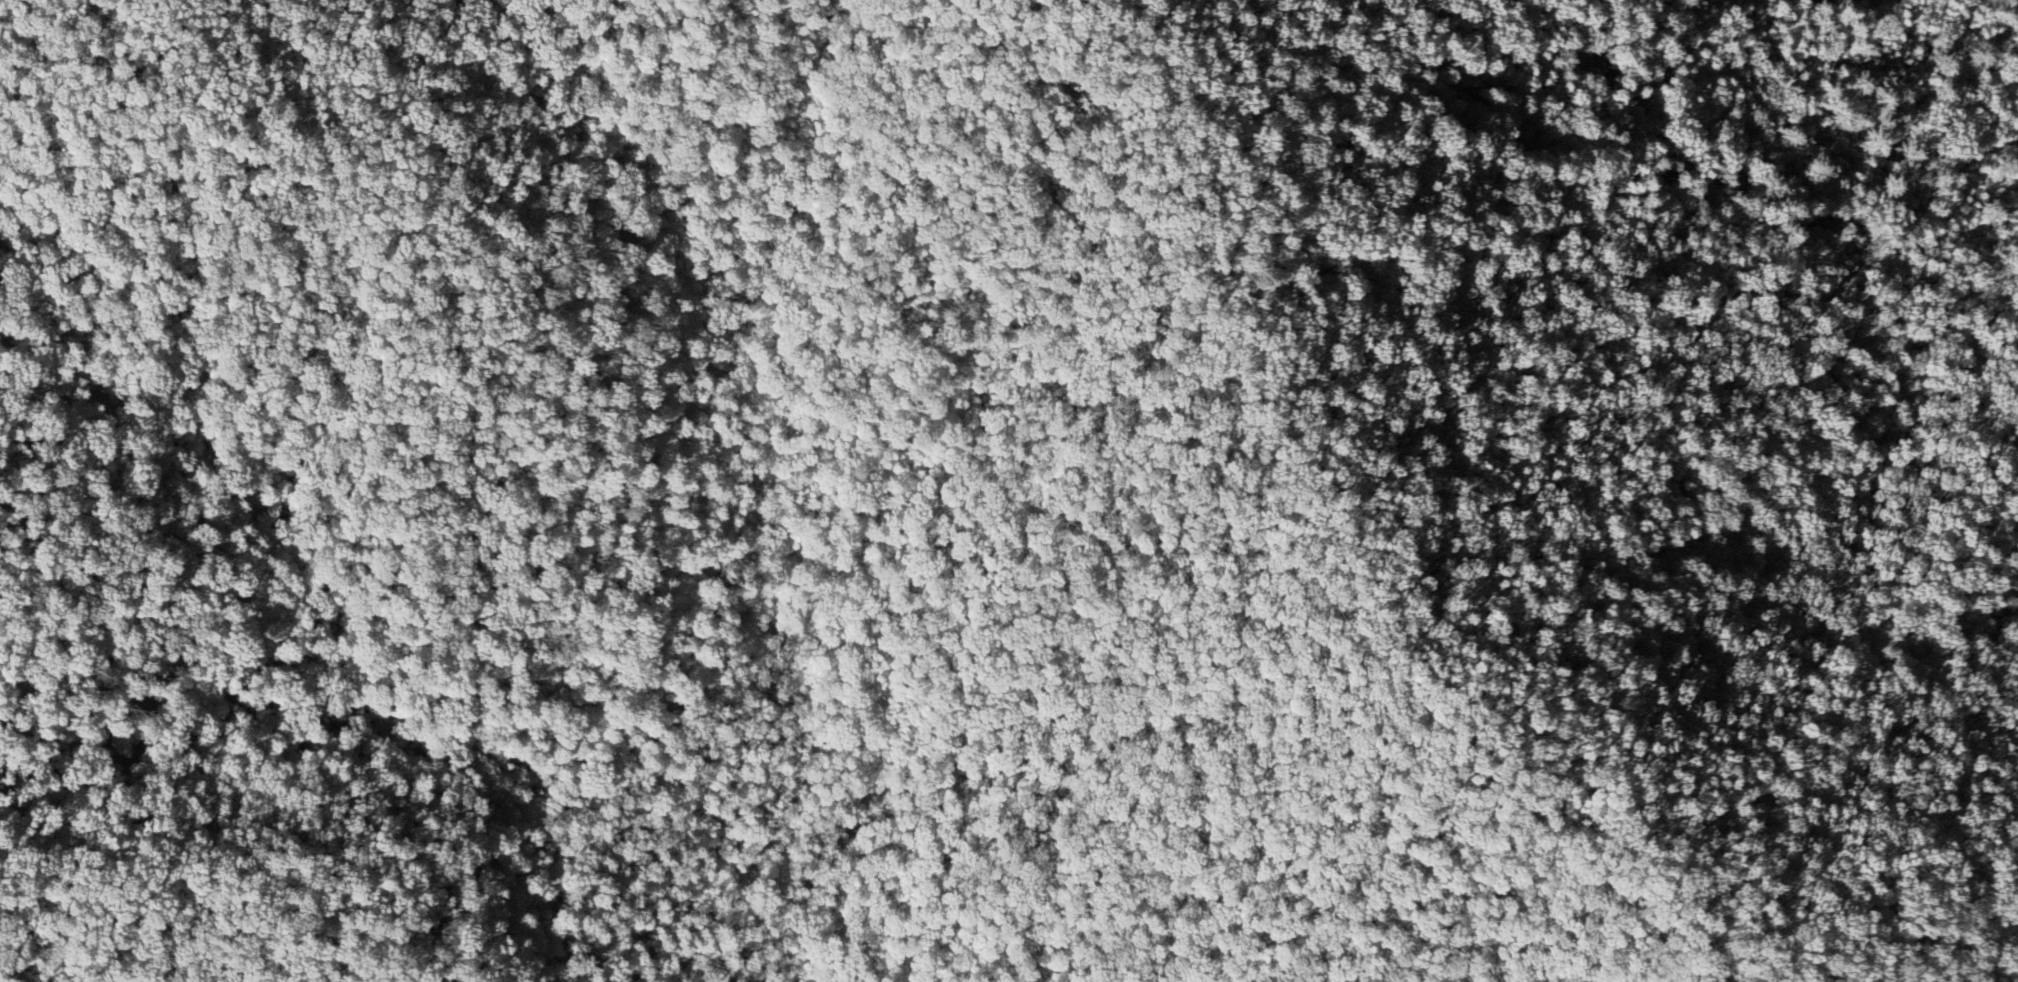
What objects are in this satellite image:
road: (1923, 46)

